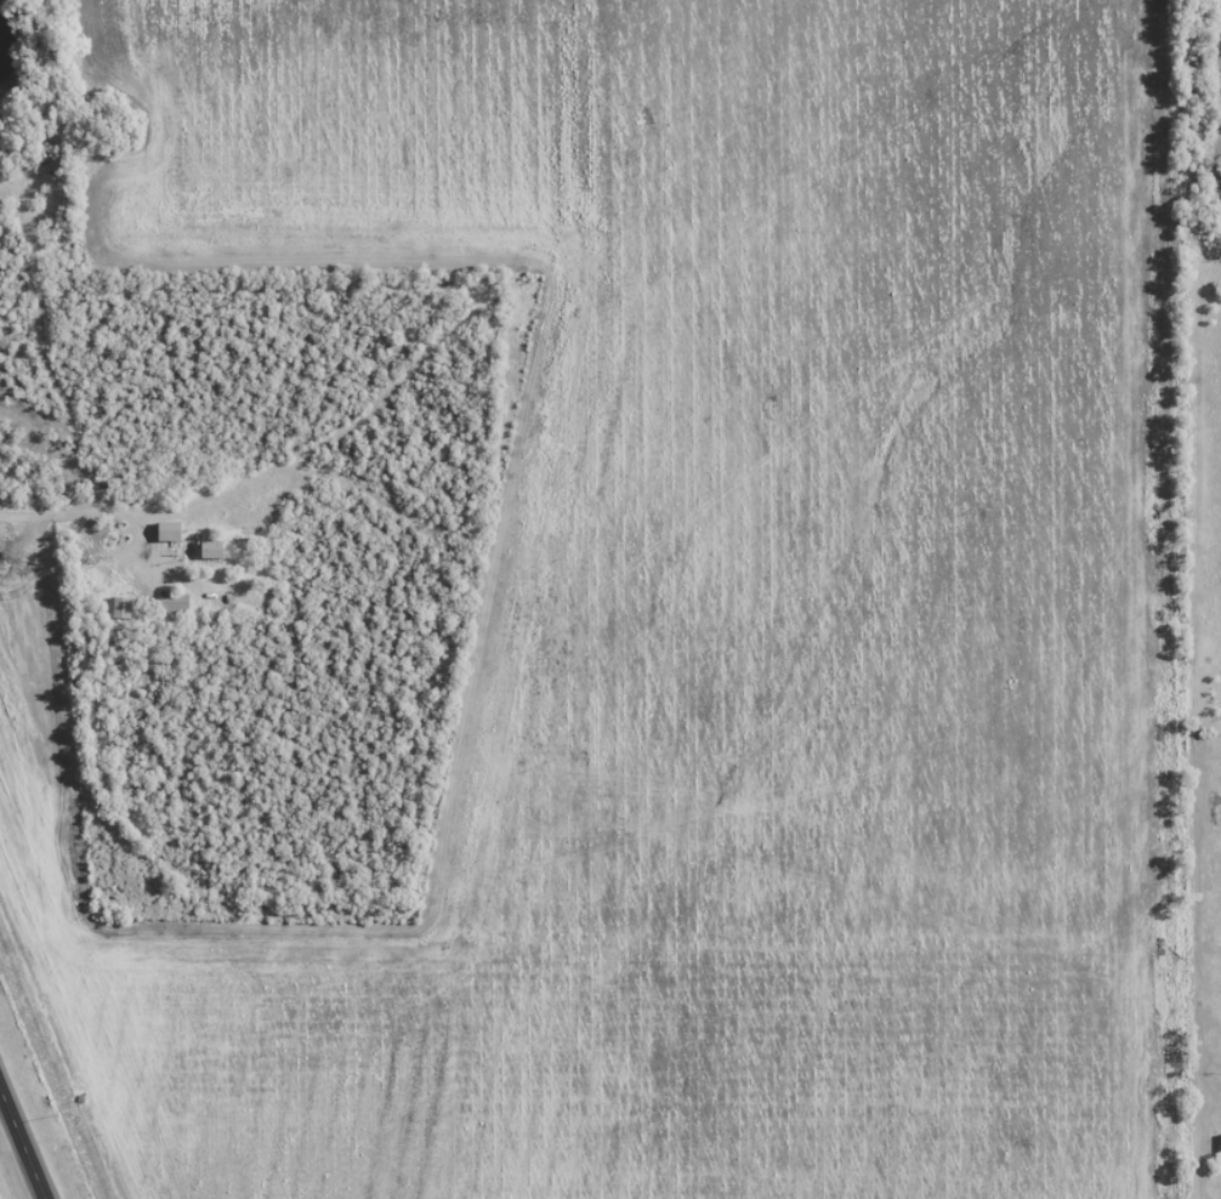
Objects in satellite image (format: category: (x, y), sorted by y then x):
road: (96, 512)
building: (165, 532)
building: (206, 549)
building: (172, 604)
road: (22, 1144)

